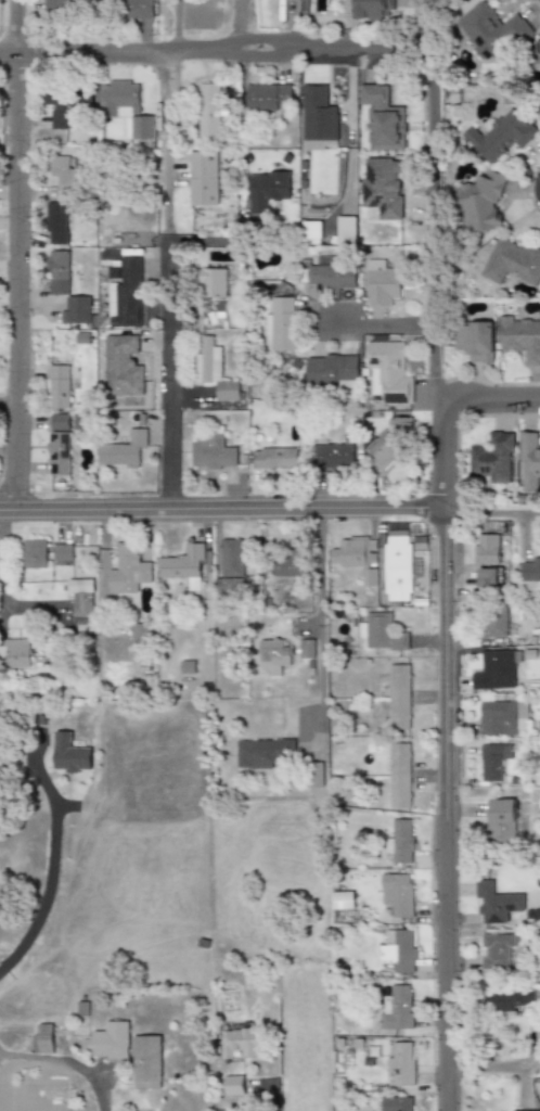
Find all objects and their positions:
building: (62, 8)
building: (137, 9)
building: (368, 9)
building: (489, 30)
building: (538, 50)
road: (216, 51)
building: (268, 97)
building: (124, 107)
building: (208, 111)
building: (317, 114)
building: (382, 118)
building: (500, 136)
road: (165, 140)
building: (317, 144)
building: (62, 175)
building: (202, 178)
building: (382, 187)
building: (266, 189)
building: (478, 203)
building: (55, 222)
building: (345, 229)
building: (310, 230)
road: (15, 254)
road: (437, 256)
building: (511, 261)
building: (59, 272)
building: (331, 273)
building: (213, 282)
building: (381, 283)
building: (125, 295)
building: (75, 310)
building: (279, 325)
road: (389, 327)
building: (519, 339)
building: (475, 341)
building: (121, 366)
building: (213, 370)
building: (331, 371)
building: (387, 372)
road: (167, 374)
building: (61, 384)
road: (492, 401)
building: (59, 421)
building: (121, 449)
building: (209, 451)
building: (57, 452)
building: (332, 456)
building: (273, 457)
building: (491, 458)
building: (529, 460)
road: (221, 509)
road: (491, 513)
road: (0, 514)
building: (485, 549)
building: (62, 551)
building: (34, 553)
building: (231, 558)
building: (353, 558)
building: (181, 564)
building: (287, 566)
building: (395, 567)
building: (529, 570)
building: (127, 571)
building: (487, 577)
building: (221, 585)
building: (80, 599)
road: (16, 609)
building: (494, 621)
road: (318, 630)
building: (380, 631)
building: (138, 638)
building: (306, 649)
building: (13, 653)
building: (273, 655)
building: (187, 666)
road: (442, 666)
building: (494, 669)
building: (399, 697)
building: (522, 715)
building: (497, 718)
building: (262, 752)
building: (69, 753)
building: (491, 761)
building: (313, 774)
building: (399, 774)
building: (500, 820)
building: (401, 841)
road: (50, 861)
building: (396, 895)
building: (499, 901)
building: (398, 950)
building: (496, 950)
road: (443, 967)
building: (511, 999)
building: (398, 1009)
building: (42, 1037)
building: (112, 1040)
building: (241, 1043)
road: (280, 1052)
road: (66, 1061)
building: (146, 1062)
building: (400, 1063)
road: (486, 1068)
building: (233, 1085)
building: (402, 1103)
building: (525, 1110)

